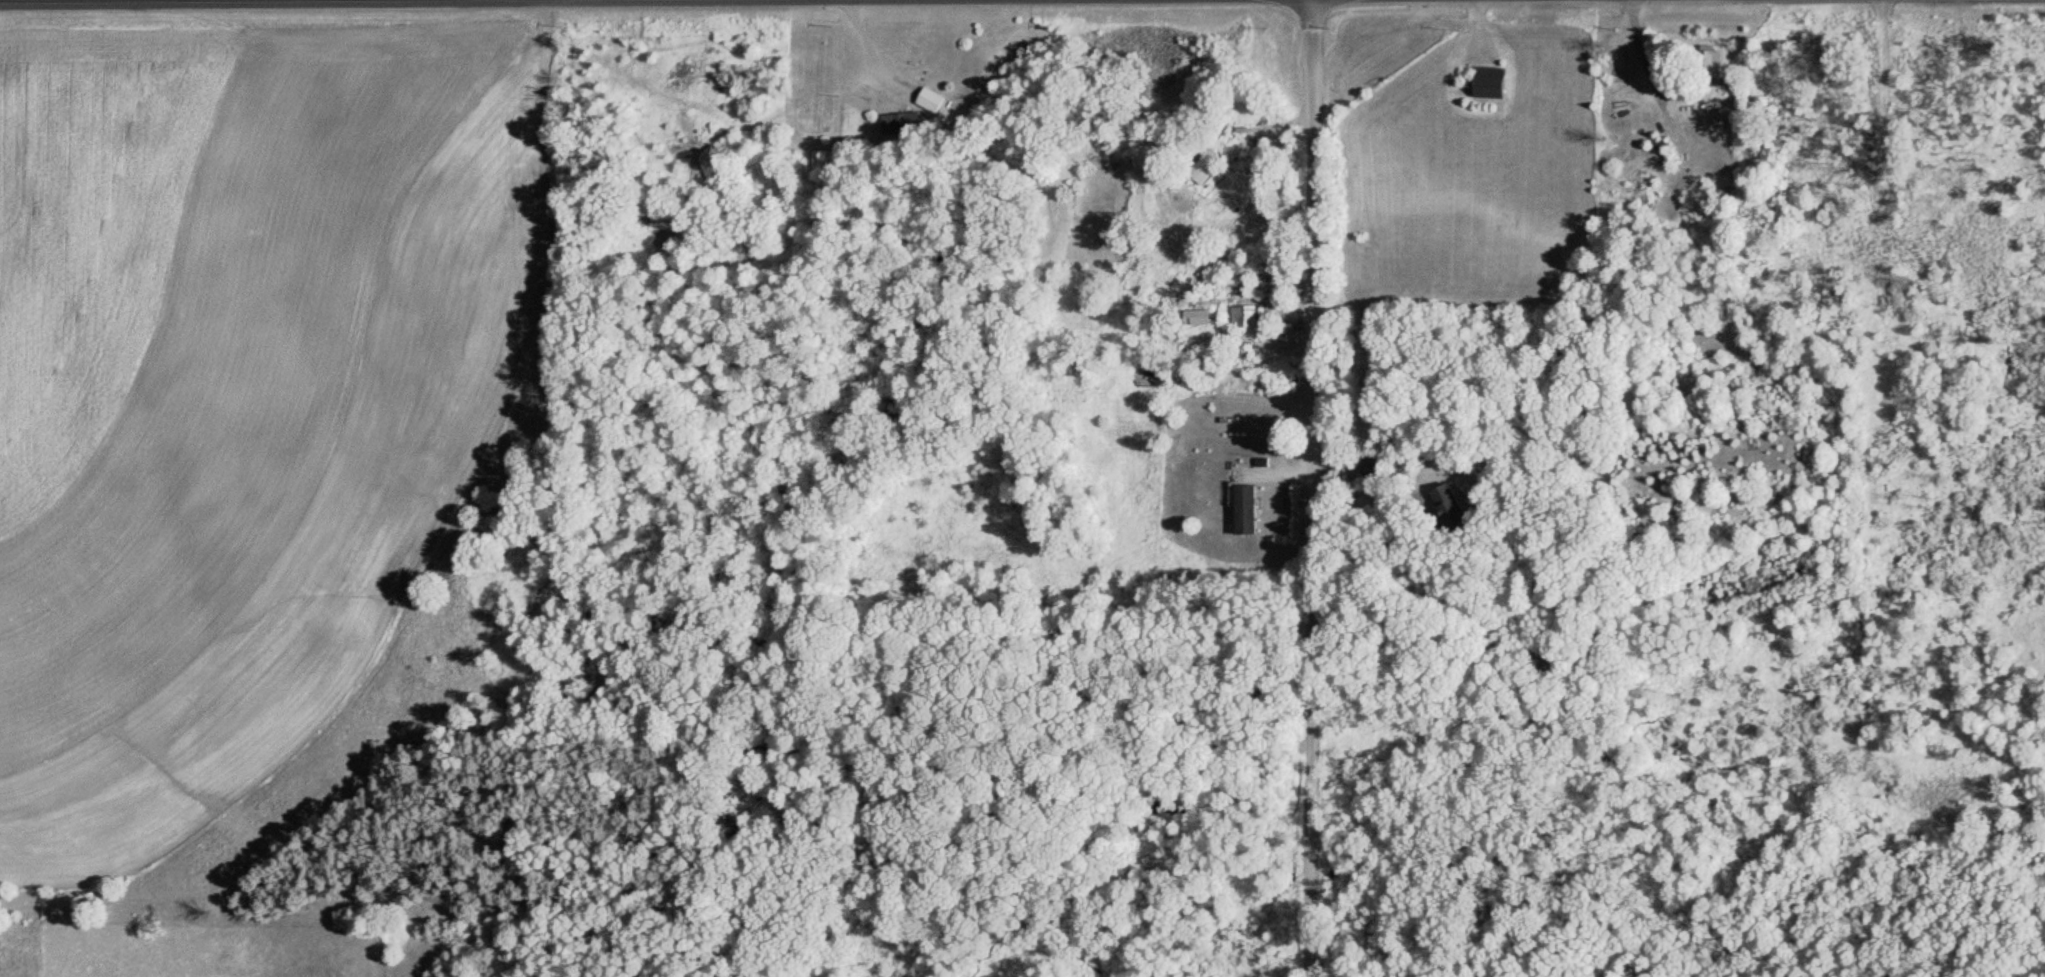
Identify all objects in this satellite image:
road: (870, 50)
building: (1485, 82)
building: (926, 99)
building: (1201, 166)
building: (1721, 195)
building: (1231, 283)
building: (1241, 316)
building: (1367, 467)
road: (1302, 488)

